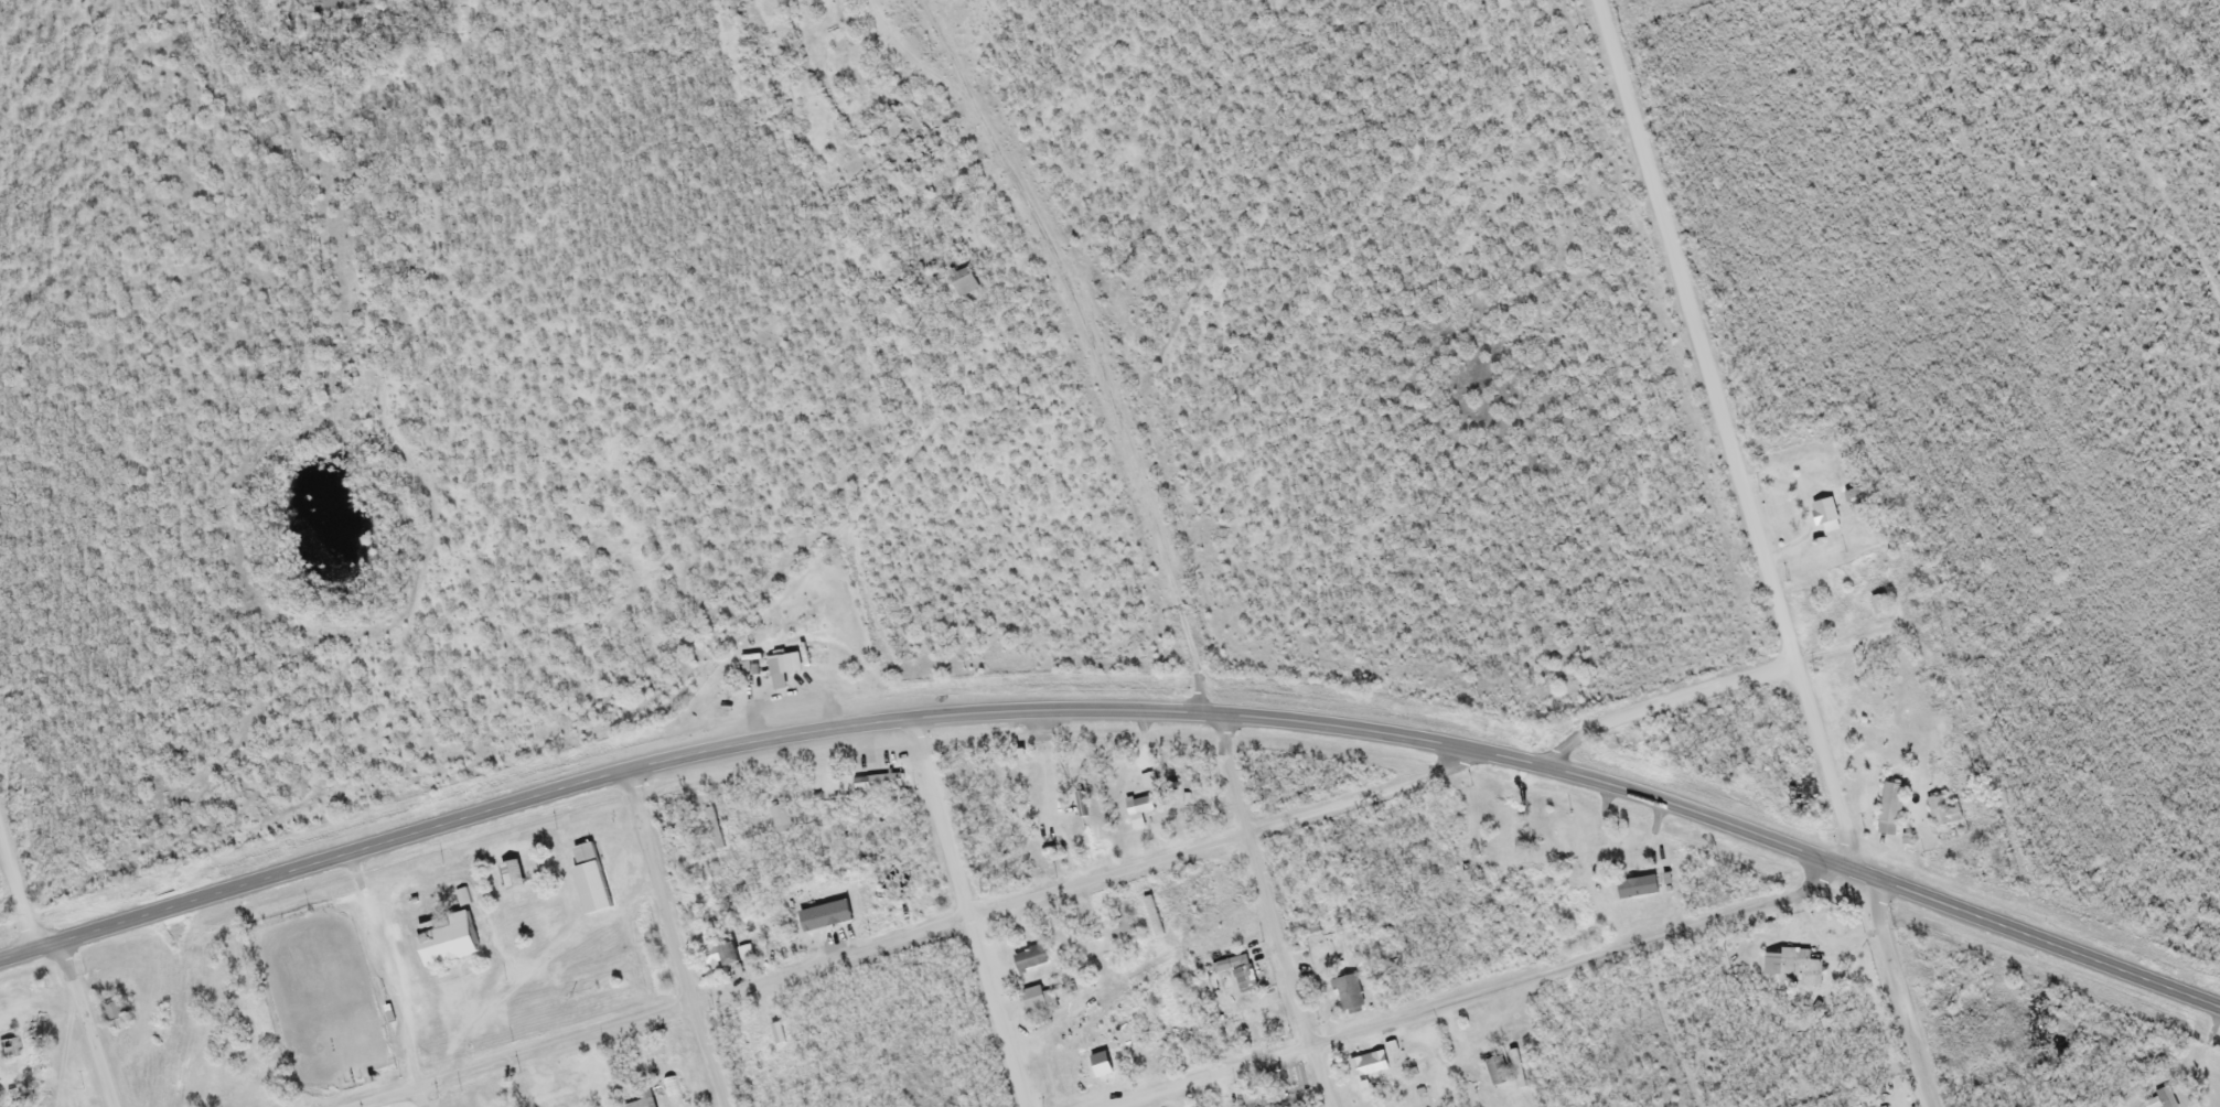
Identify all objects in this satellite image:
road: (970, 15)
building: (959, 283)
building: (1822, 514)
road: (1758, 552)
road: (1157, 559)
building: (779, 670)
road: (1660, 703)
road: (1580, 780)
building: (1147, 783)
building: (875, 785)
building: (1804, 791)
building: (1138, 808)
building: (1888, 812)
building: (1941, 813)
road: (450, 824)
building: (711, 830)
building: (508, 877)
building: (1634, 890)
road: (19, 899)
road: (966, 913)
building: (1119, 929)
road: (916, 936)
building: (440, 939)
road: (673, 939)
building: (717, 955)
building: (1027, 960)
building: (1769, 966)
building: (1802, 972)
building: (1242, 976)
road: (1497, 989)
building: (1347, 996)
building: (1036, 1003)
road: (84, 1024)
building: (1156, 1050)
building: (1365, 1066)
building: (1514, 1071)
building: (1494, 1072)
building: (566, 1088)
road: (419, 1097)
building: (2159, 1098)
building: (635, 1099)
building: (1258, 1104)

